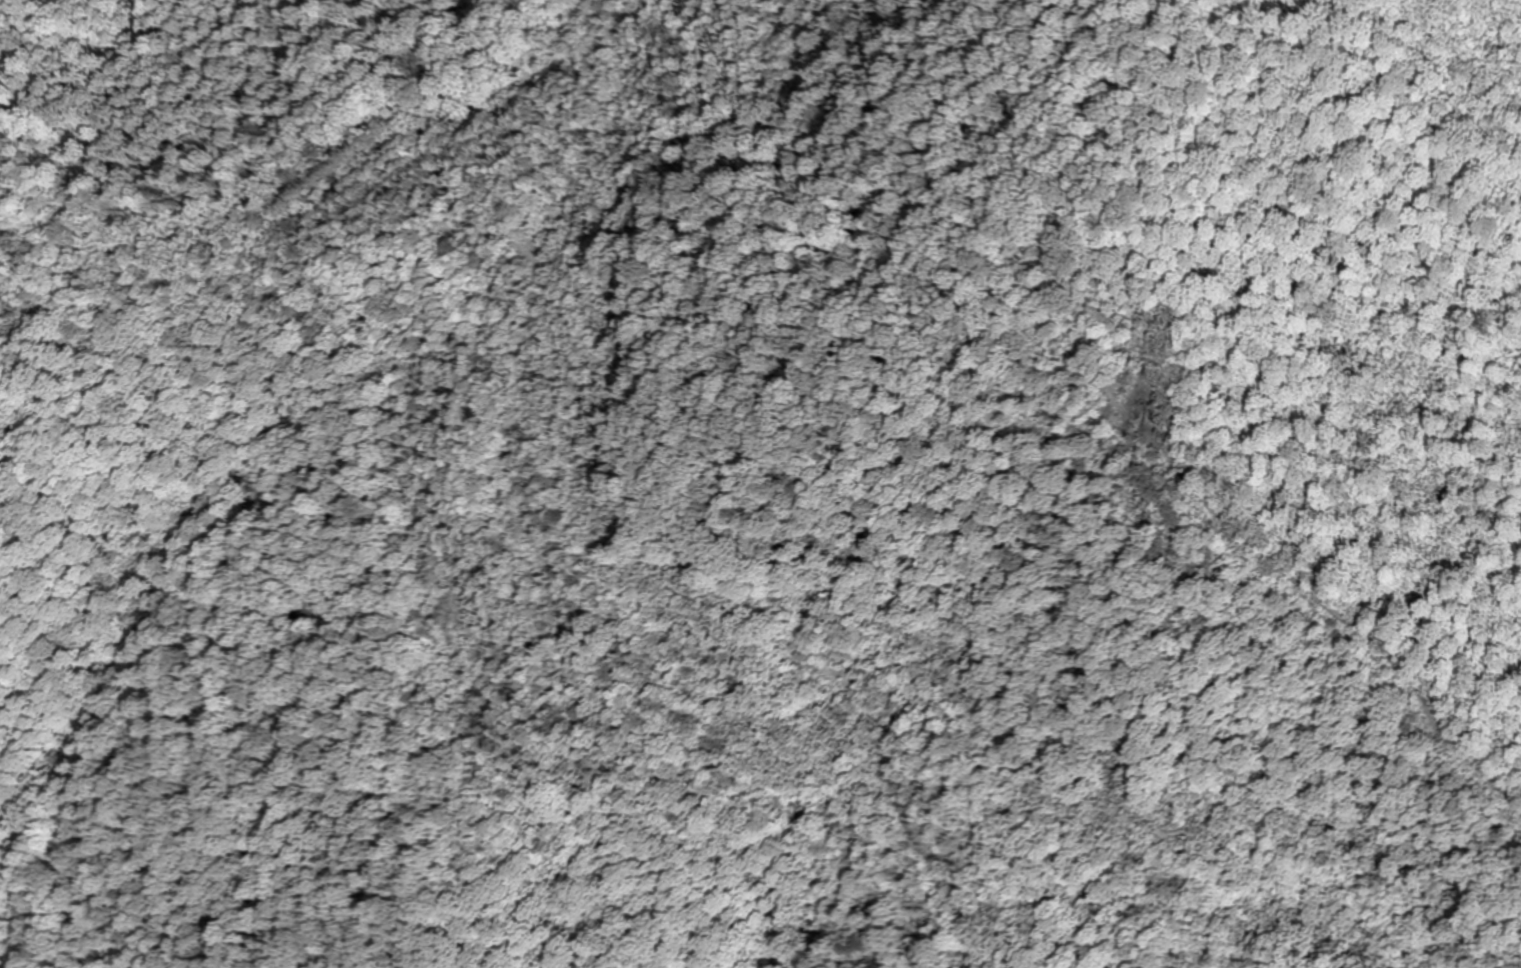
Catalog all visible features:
road: (1160, 462)

